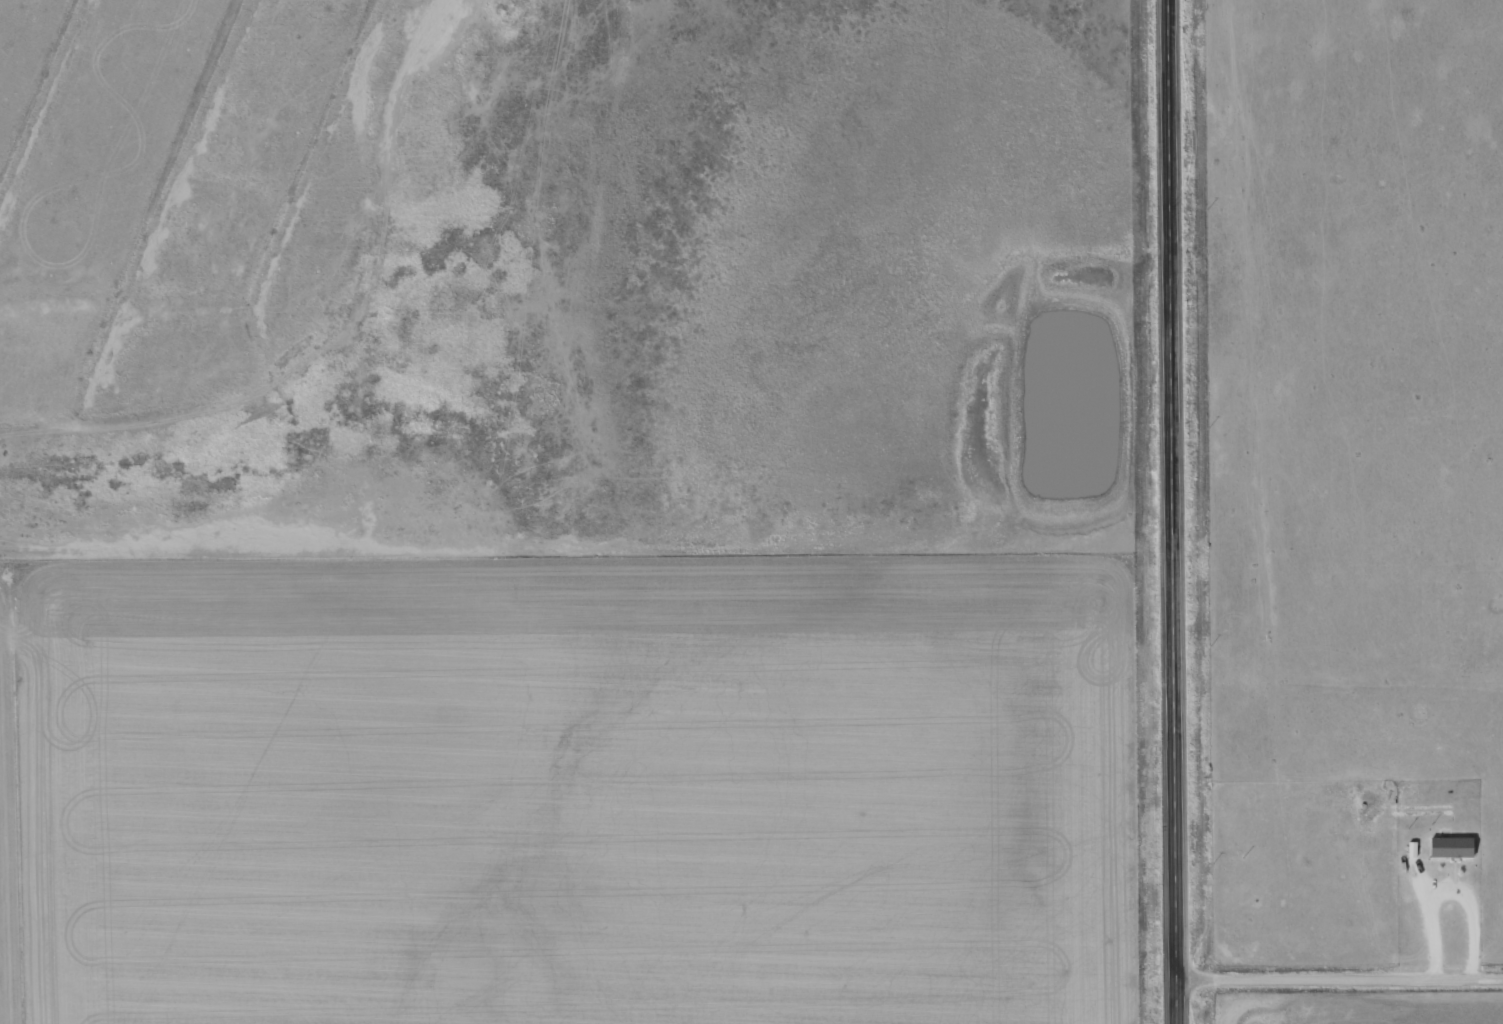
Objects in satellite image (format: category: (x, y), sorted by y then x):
road: (1170, 511)
building: (1450, 846)
road: (1338, 976)

